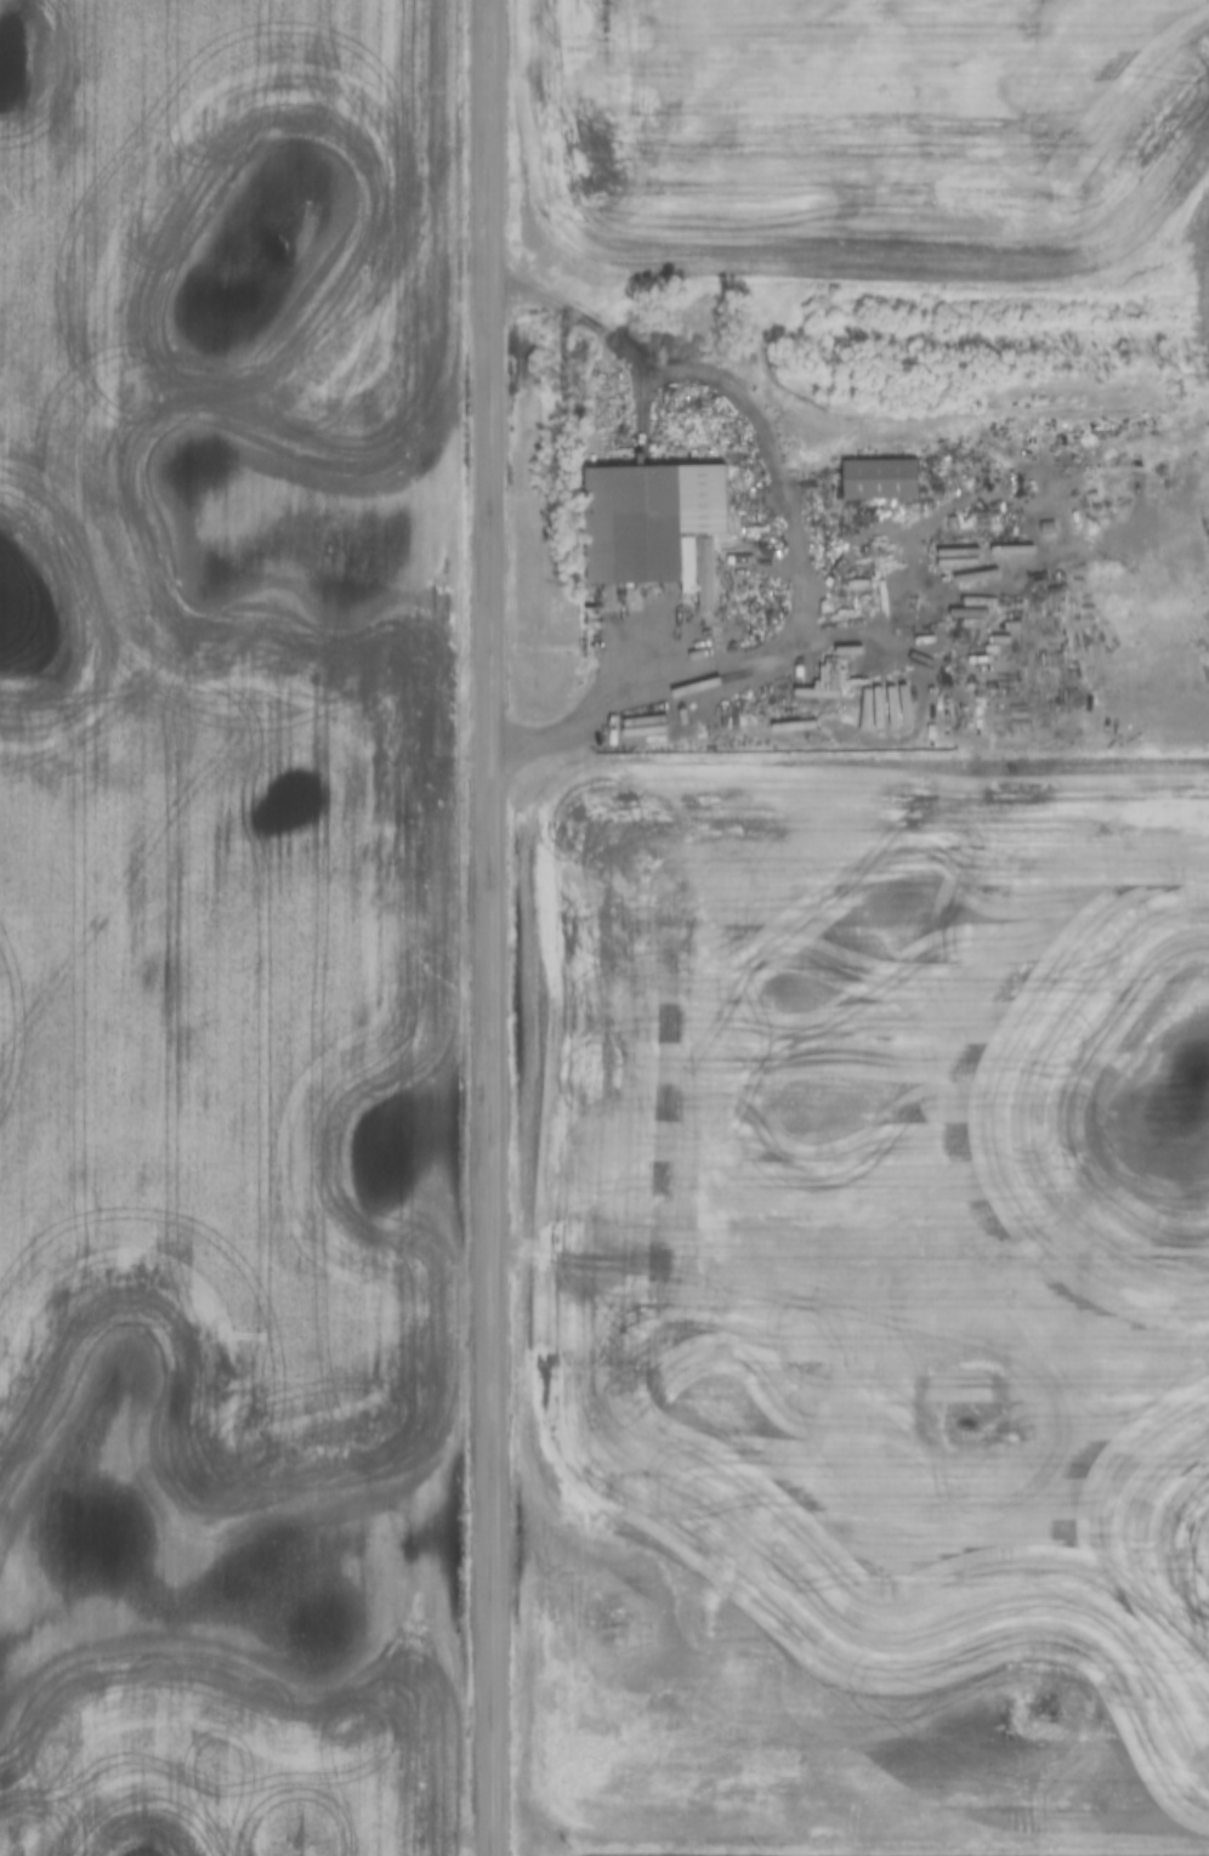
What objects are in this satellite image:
building: (875, 477)
building: (641, 517)
road: (693, 698)
road: (487, 927)

